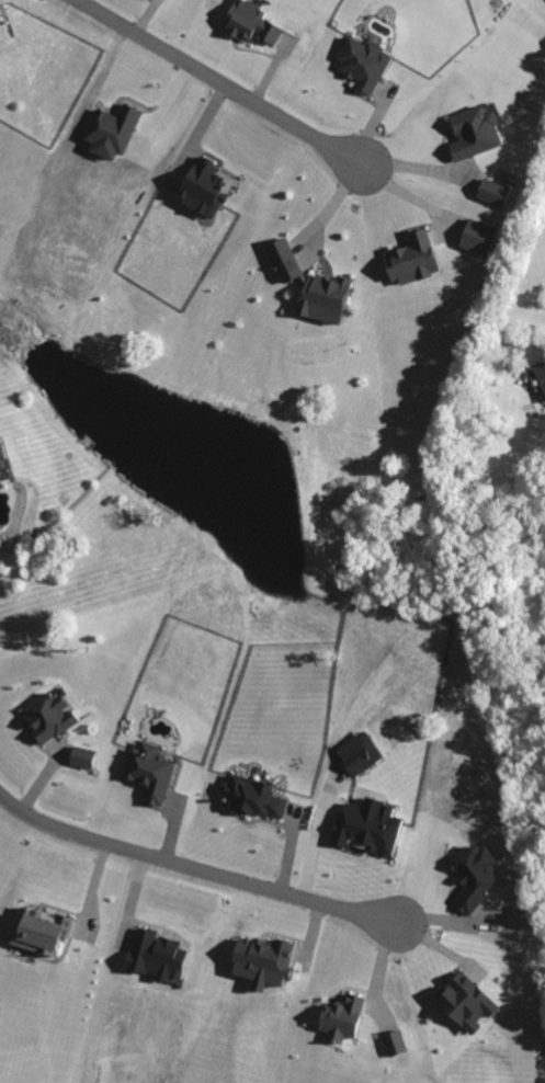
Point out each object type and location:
building: (248, 25)
building: (362, 67)
road: (223, 81)
building: (110, 134)
building: (473, 135)
building: (203, 190)
building: (491, 195)
building: (476, 239)
building: (410, 262)
building: (308, 288)
building: (540, 379)
building: (47, 720)
building: (357, 756)
building: (80, 761)
building: (148, 776)
building: (366, 830)
road: (194, 864)
building: (472, 879)
building: (35, 935)
building: (154, 959)
building: (259, 965)
building: (464, 1005)
building: (339, 1022)
building: (394, 1046)

